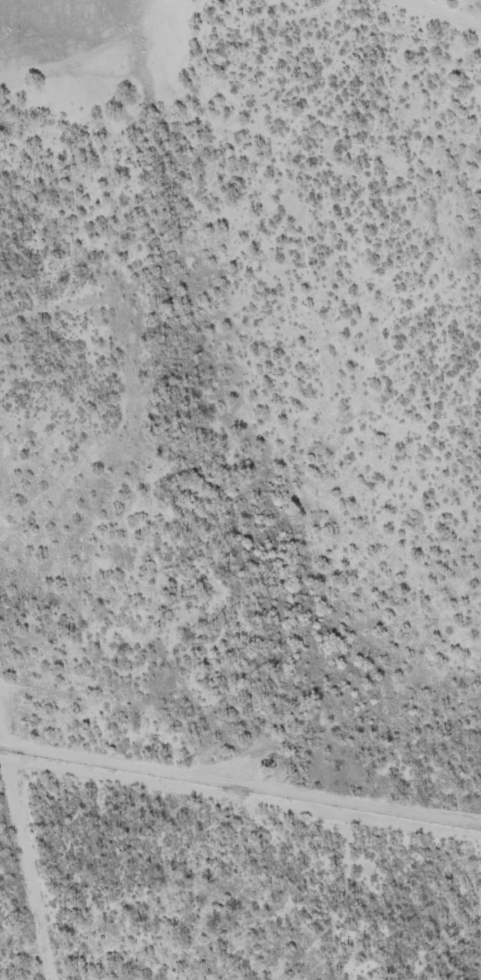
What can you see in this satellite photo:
road: (240, 785)

